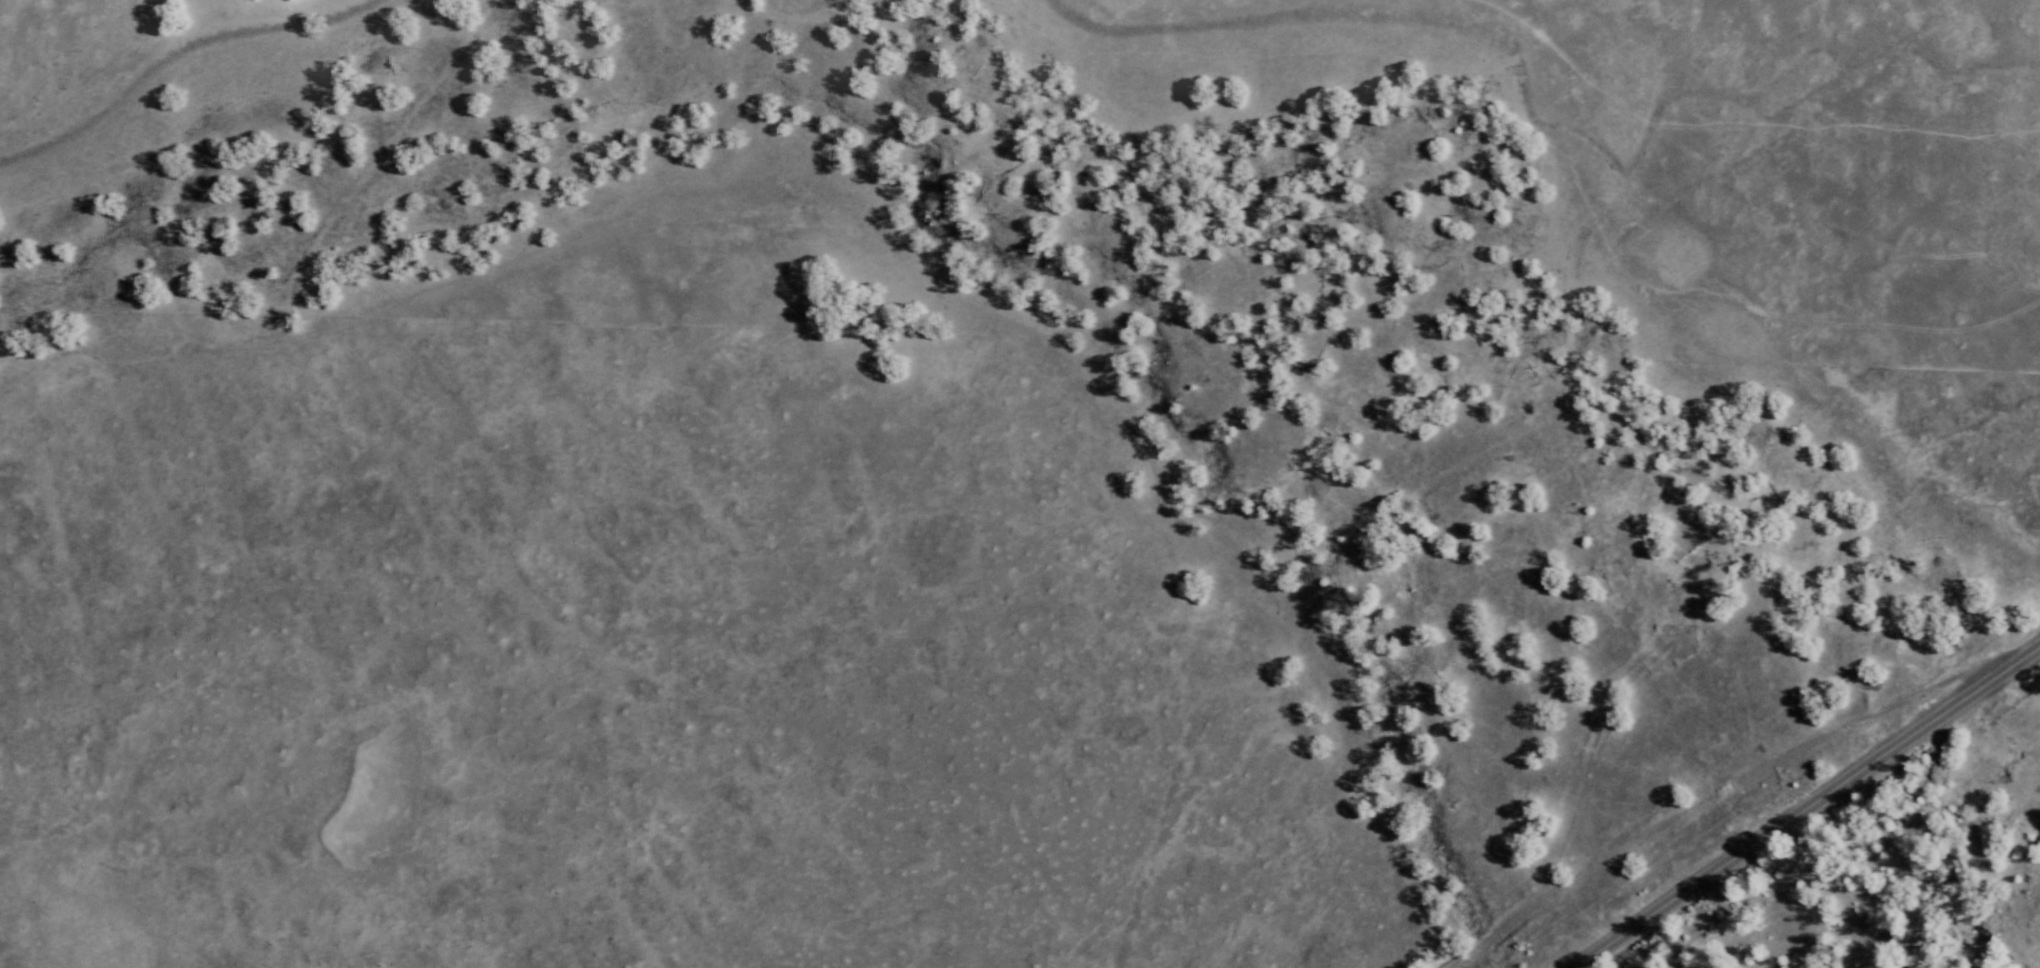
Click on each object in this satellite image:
road: (1890, 327)
road: (2021, 689)
road: (1806, 806)

